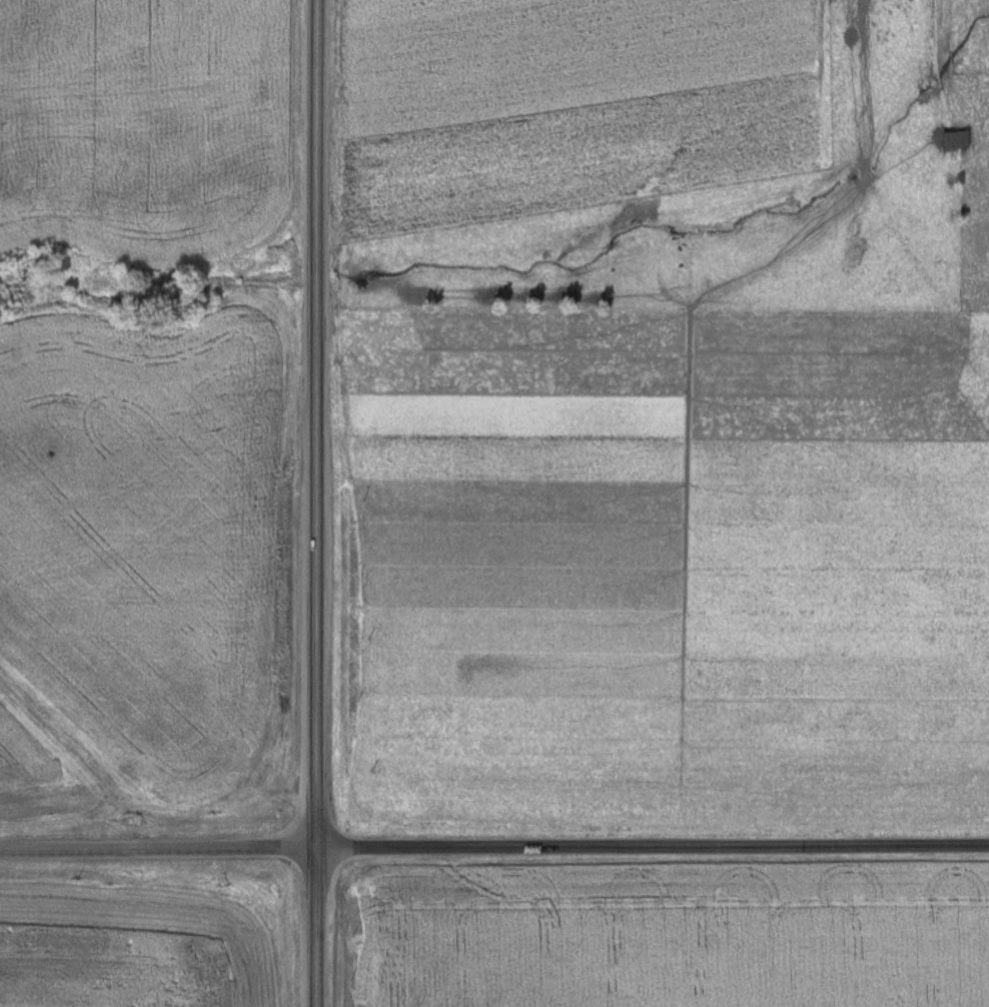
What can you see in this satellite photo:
building: (957, 141)
road: (314, 503)
road: (494, 846)

